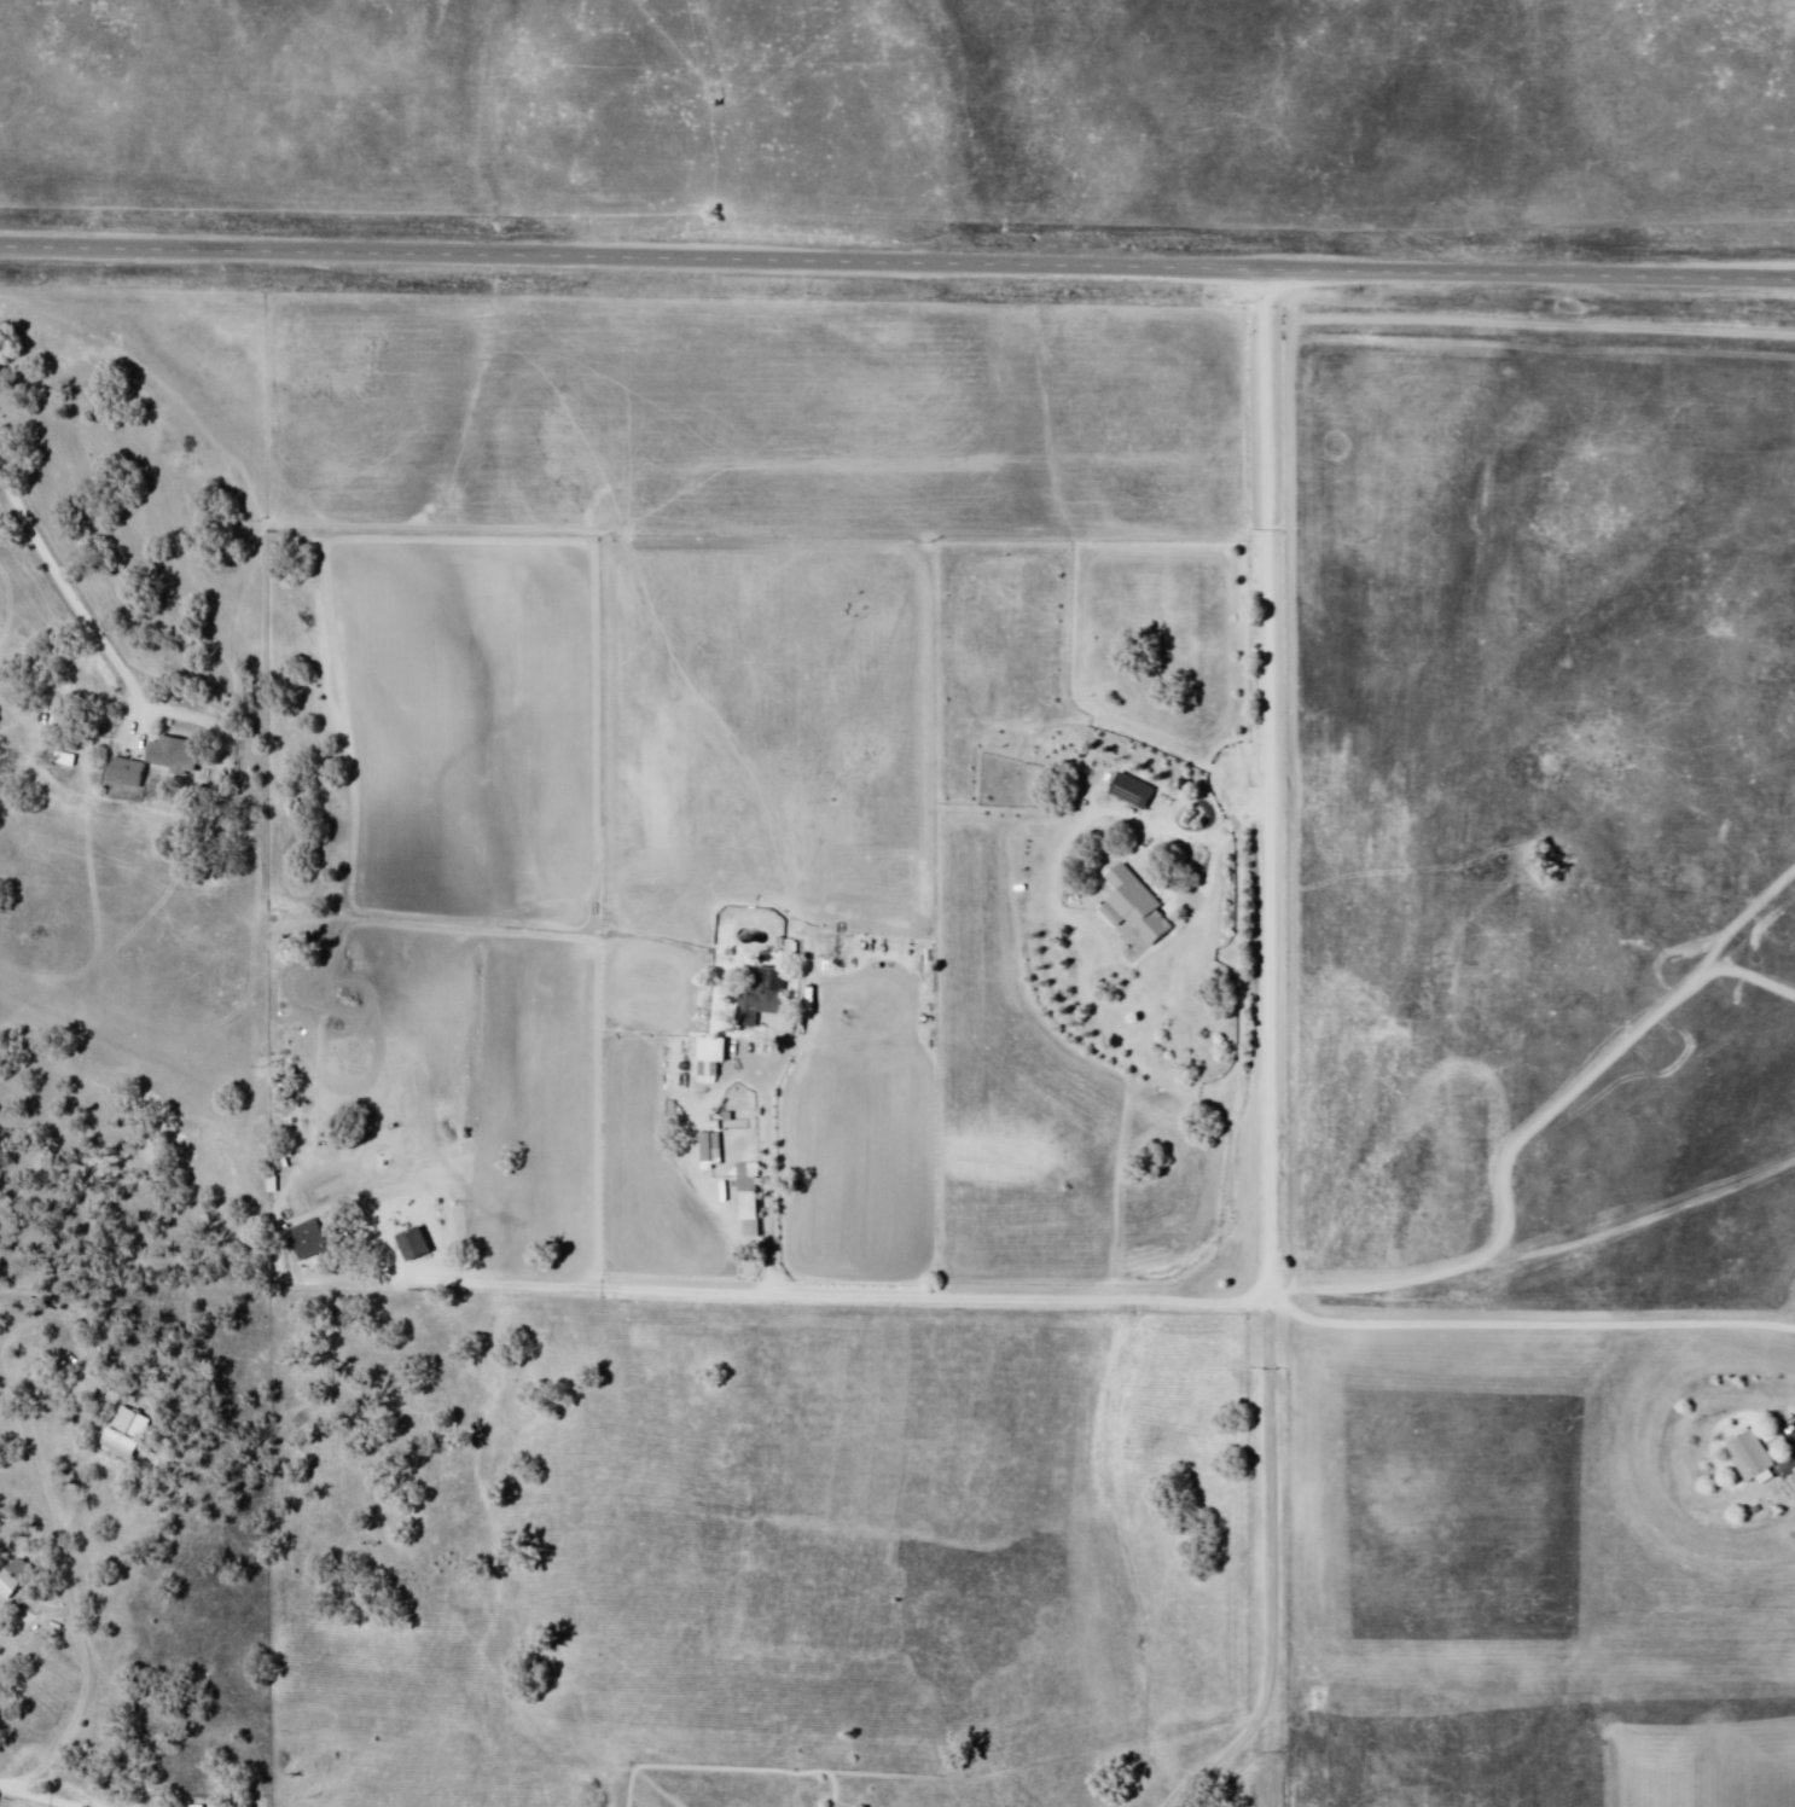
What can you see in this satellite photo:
road: (896, 267)
road: (629, 333)
building: (179, 755)
road: (1261, 783)
building: (1123, 791)
building: (1129, 908)
road: (430, 919)
building: (763, 999)
building: (713, 1058)
building: (714, 1149)
building: (750, 1202)
building: (304, 1241)
building: (416, 1245)
road: (1160, 1290)
building: (129, 1433)
building: (1747, 1452)
building: (1793, 1477)
building: (14, 1581)
road: (22, 1794)

